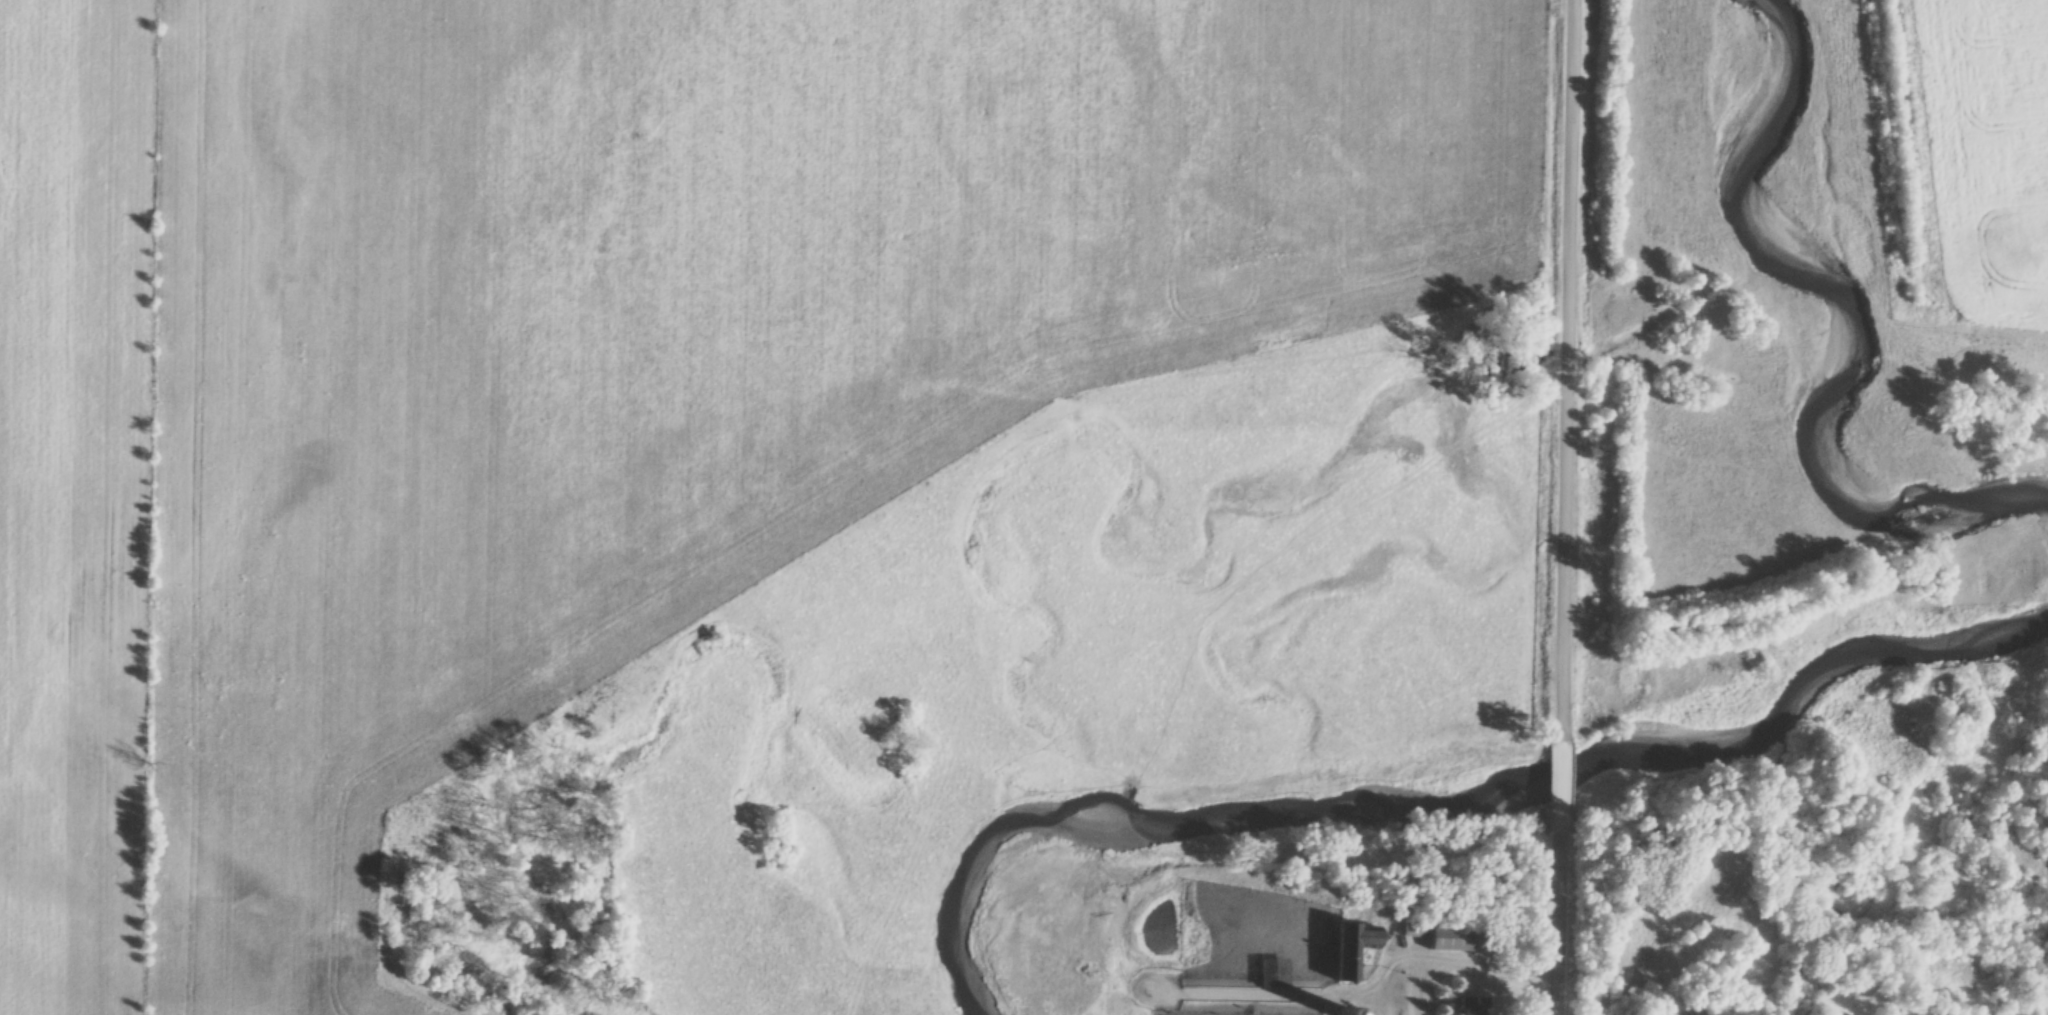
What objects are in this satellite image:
crop: (684, 341)
road: (1565, 370)
crop: (75, 499)
road: (1561, 787)
building: (1243, 917)
road: (1559, 924)
building: (1353, 940)
building: (1448, 940)
road: (1473, 967)
building: (1469, 1007)

